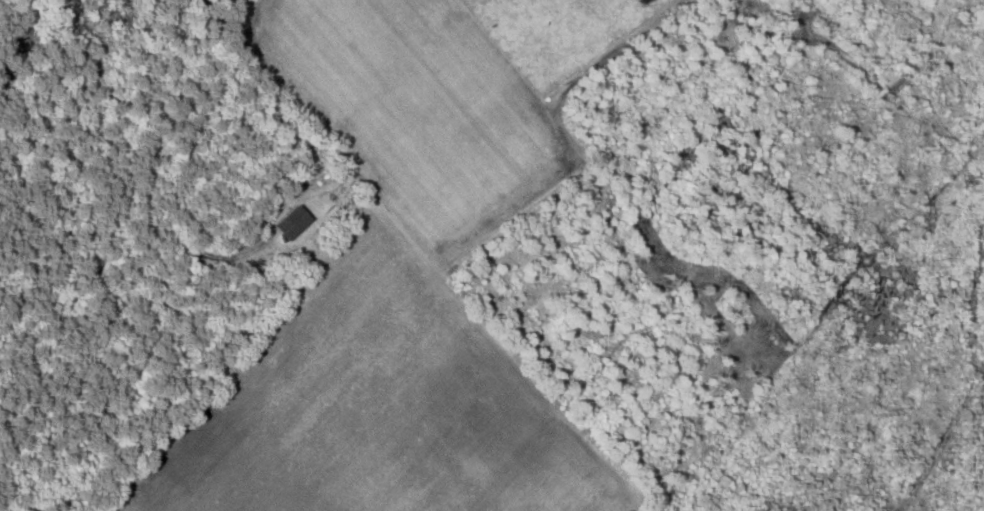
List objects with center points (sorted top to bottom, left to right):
building: (294, 223)

